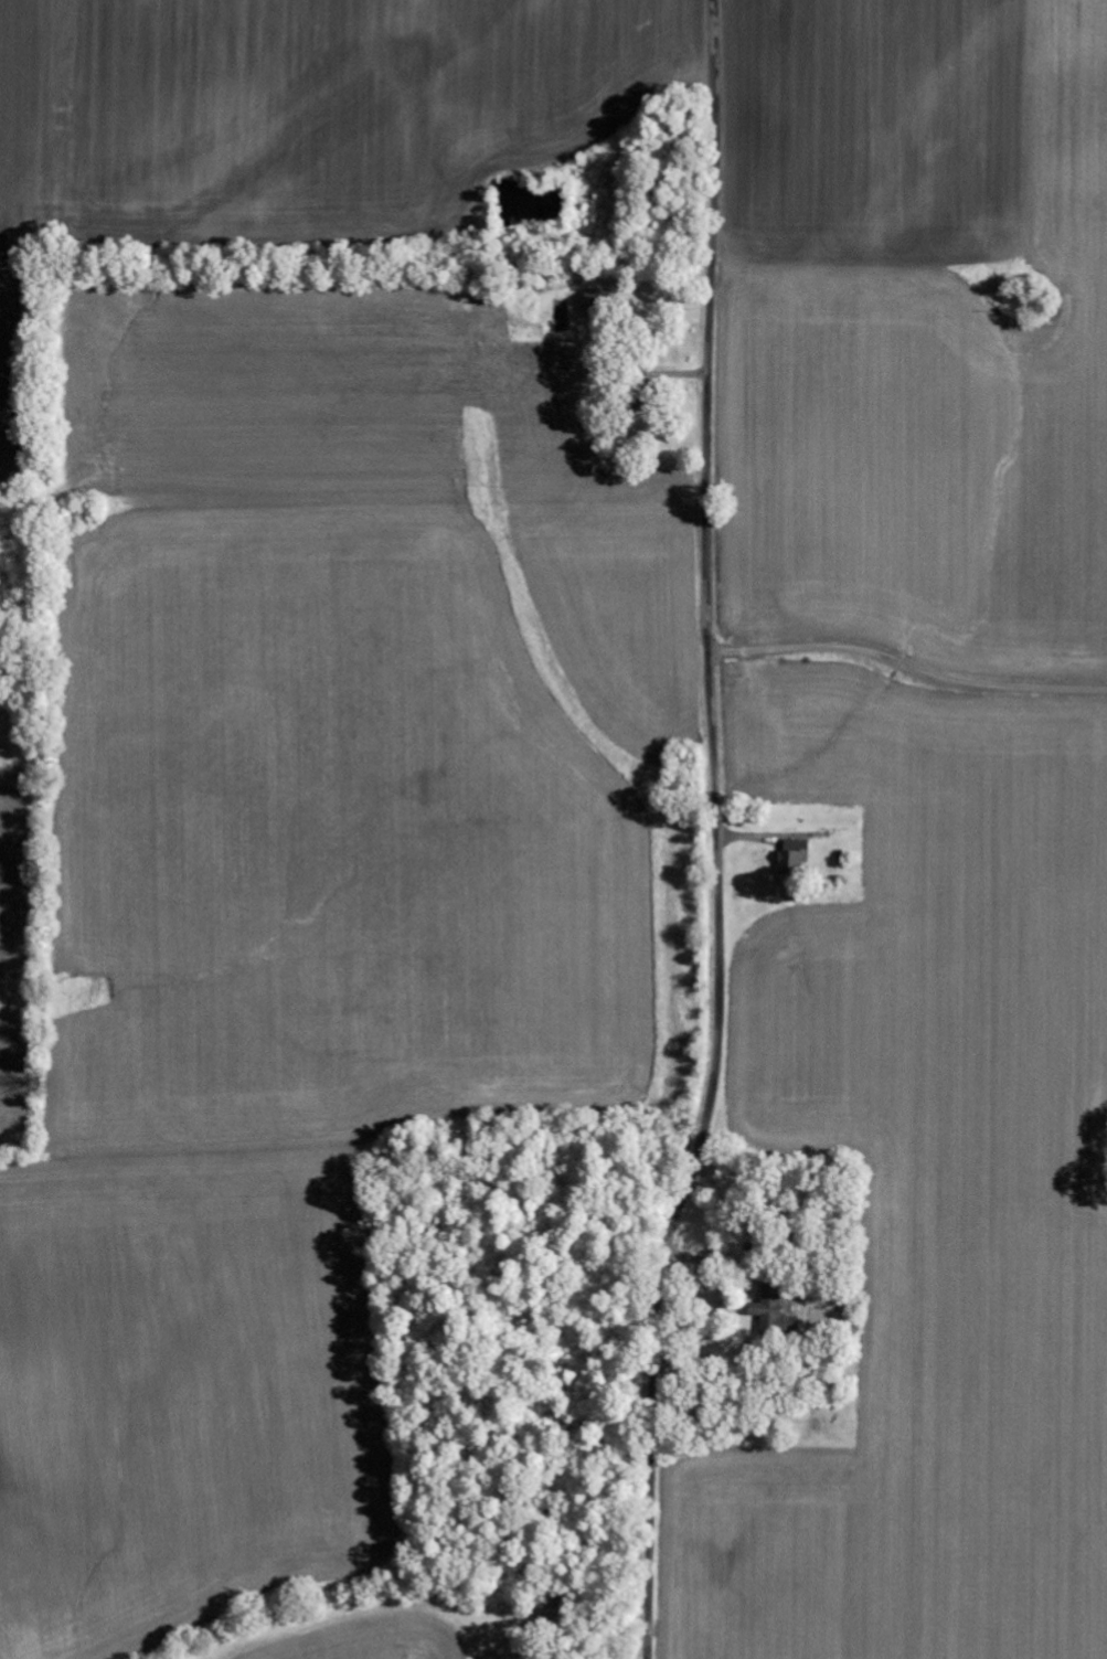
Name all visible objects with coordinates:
road: (906, 663)
road: (715, 833)
building: (774, 1311)

